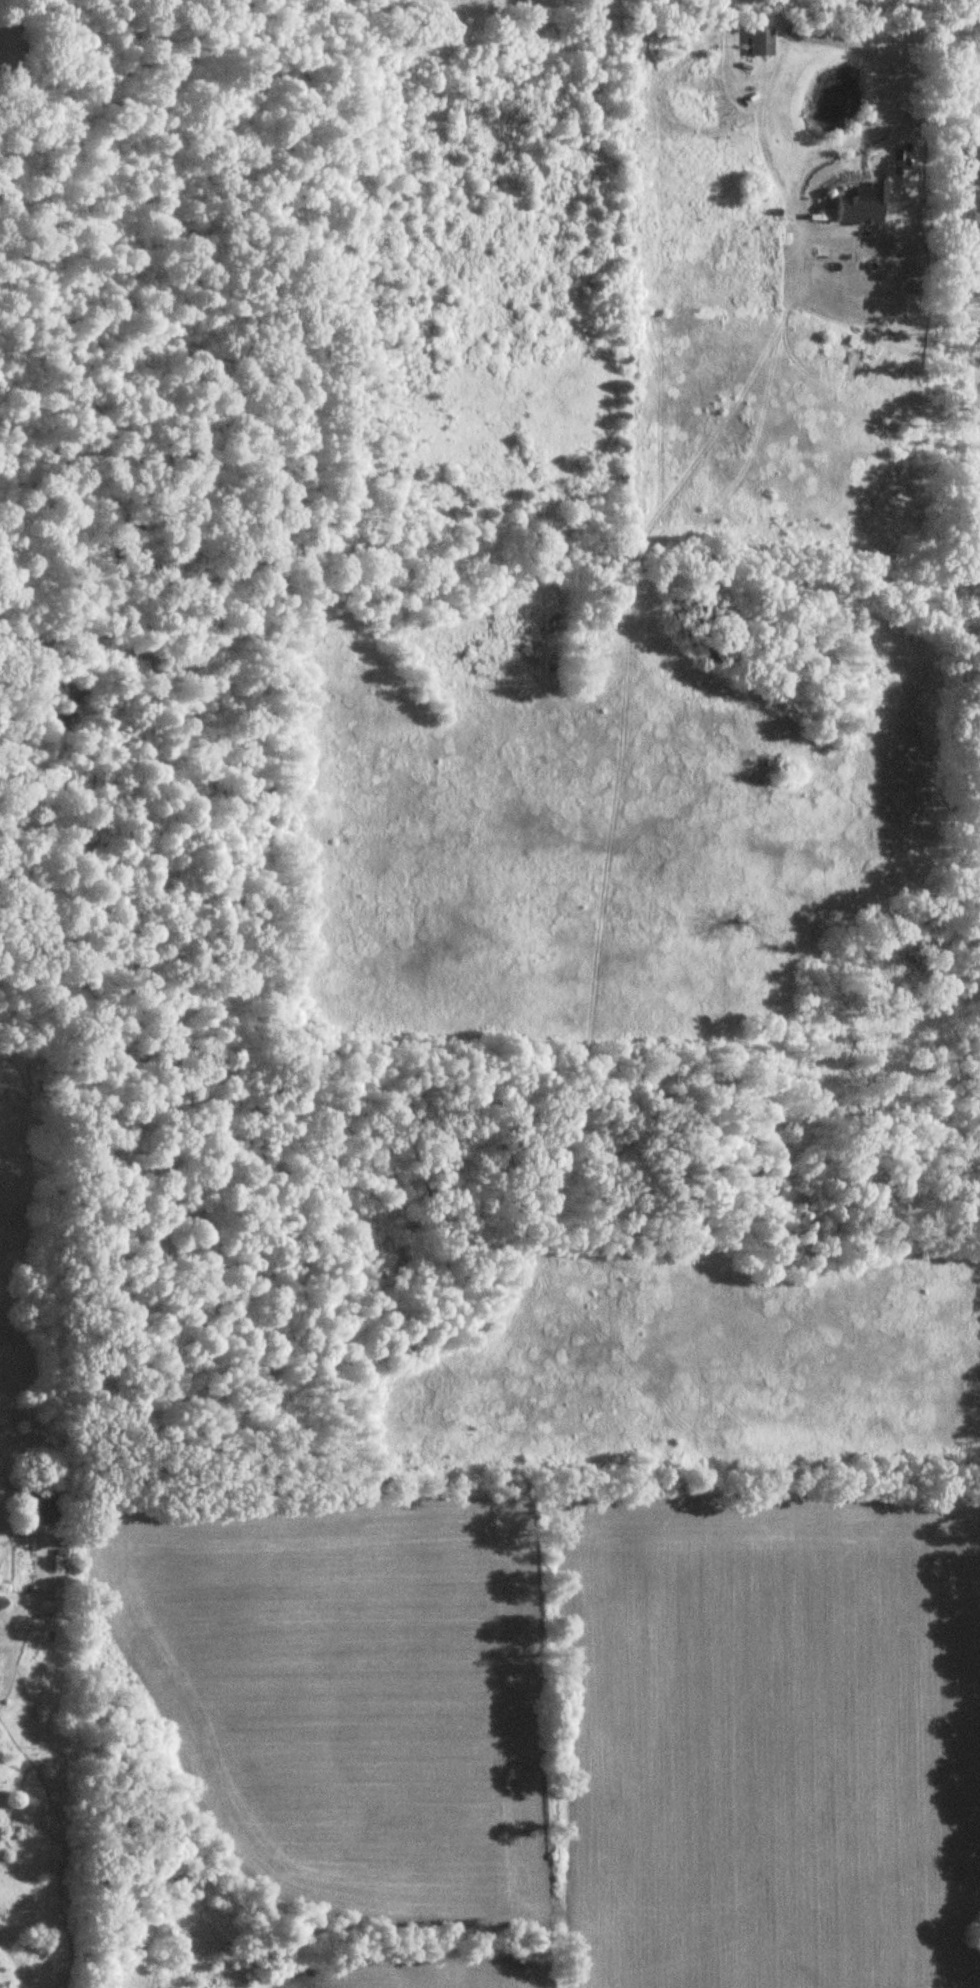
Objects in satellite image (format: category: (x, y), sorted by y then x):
road: (842, 40)
building: (761, 41)
building: (862, 206)
building: (43, 1507)

